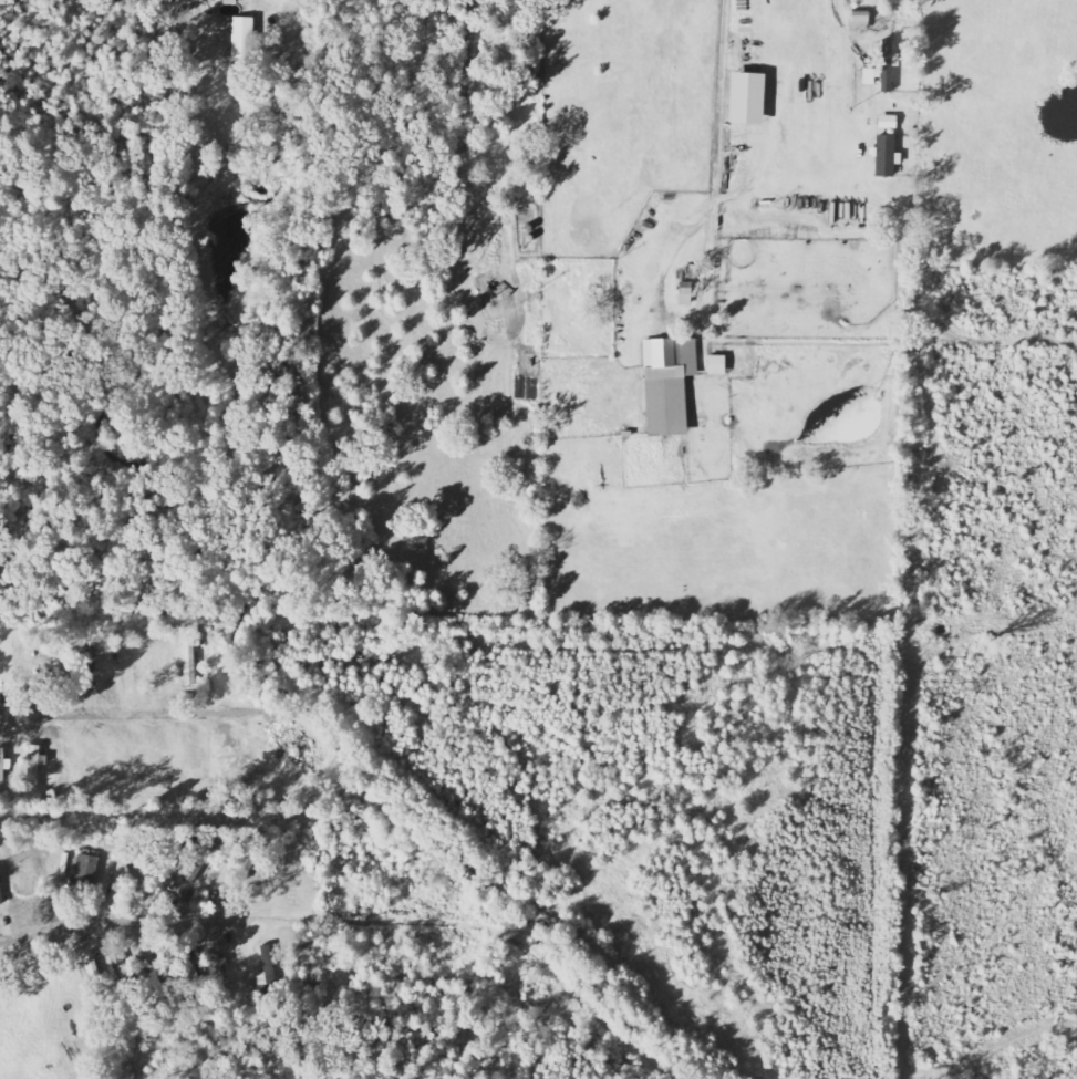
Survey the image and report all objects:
building: (860, 21)
building: (242, 39)
building: (882, 71)
road: (466, 84)
building: (746, 100)
building: (887, 123)
road: (713, 143)
building: (884, 157)
road: (660, 281)
road: (506, 341)
building: (716, 366)
building: (667, 385)
building: (91, 666)
road: (133, 718)
building: (33, 767)
building: (3, 772)
building: (201, 859)
building: (84, 873)
building: (0, 891)
road: (120, 924)
road: (484, 928)
building: (122, 977)

